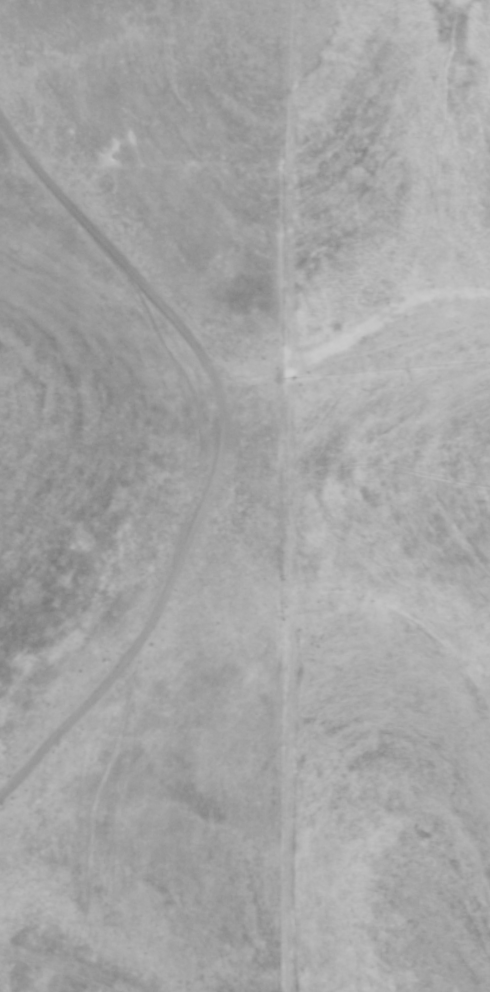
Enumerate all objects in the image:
road: (218, 462)

